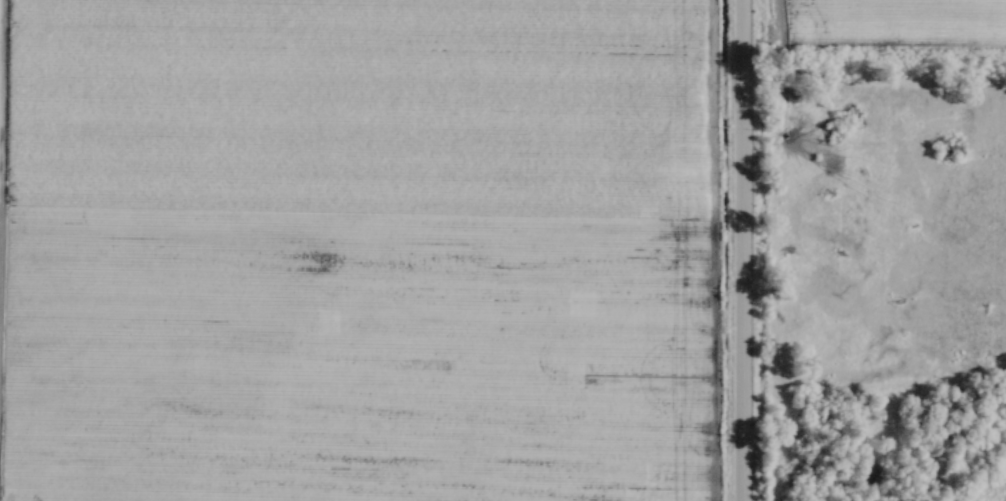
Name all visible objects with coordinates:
road: (739, 250)

